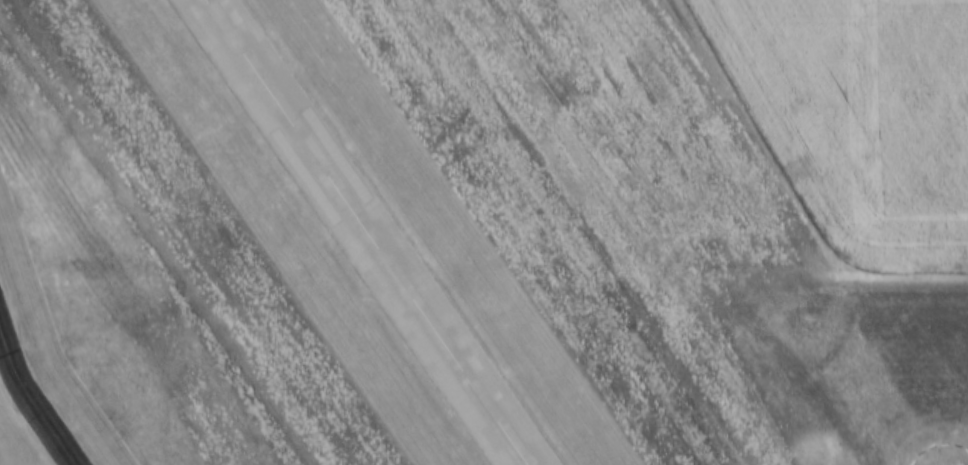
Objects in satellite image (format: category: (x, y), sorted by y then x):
airport runway: (368, 232)
airport taxiway: (29, 398)

